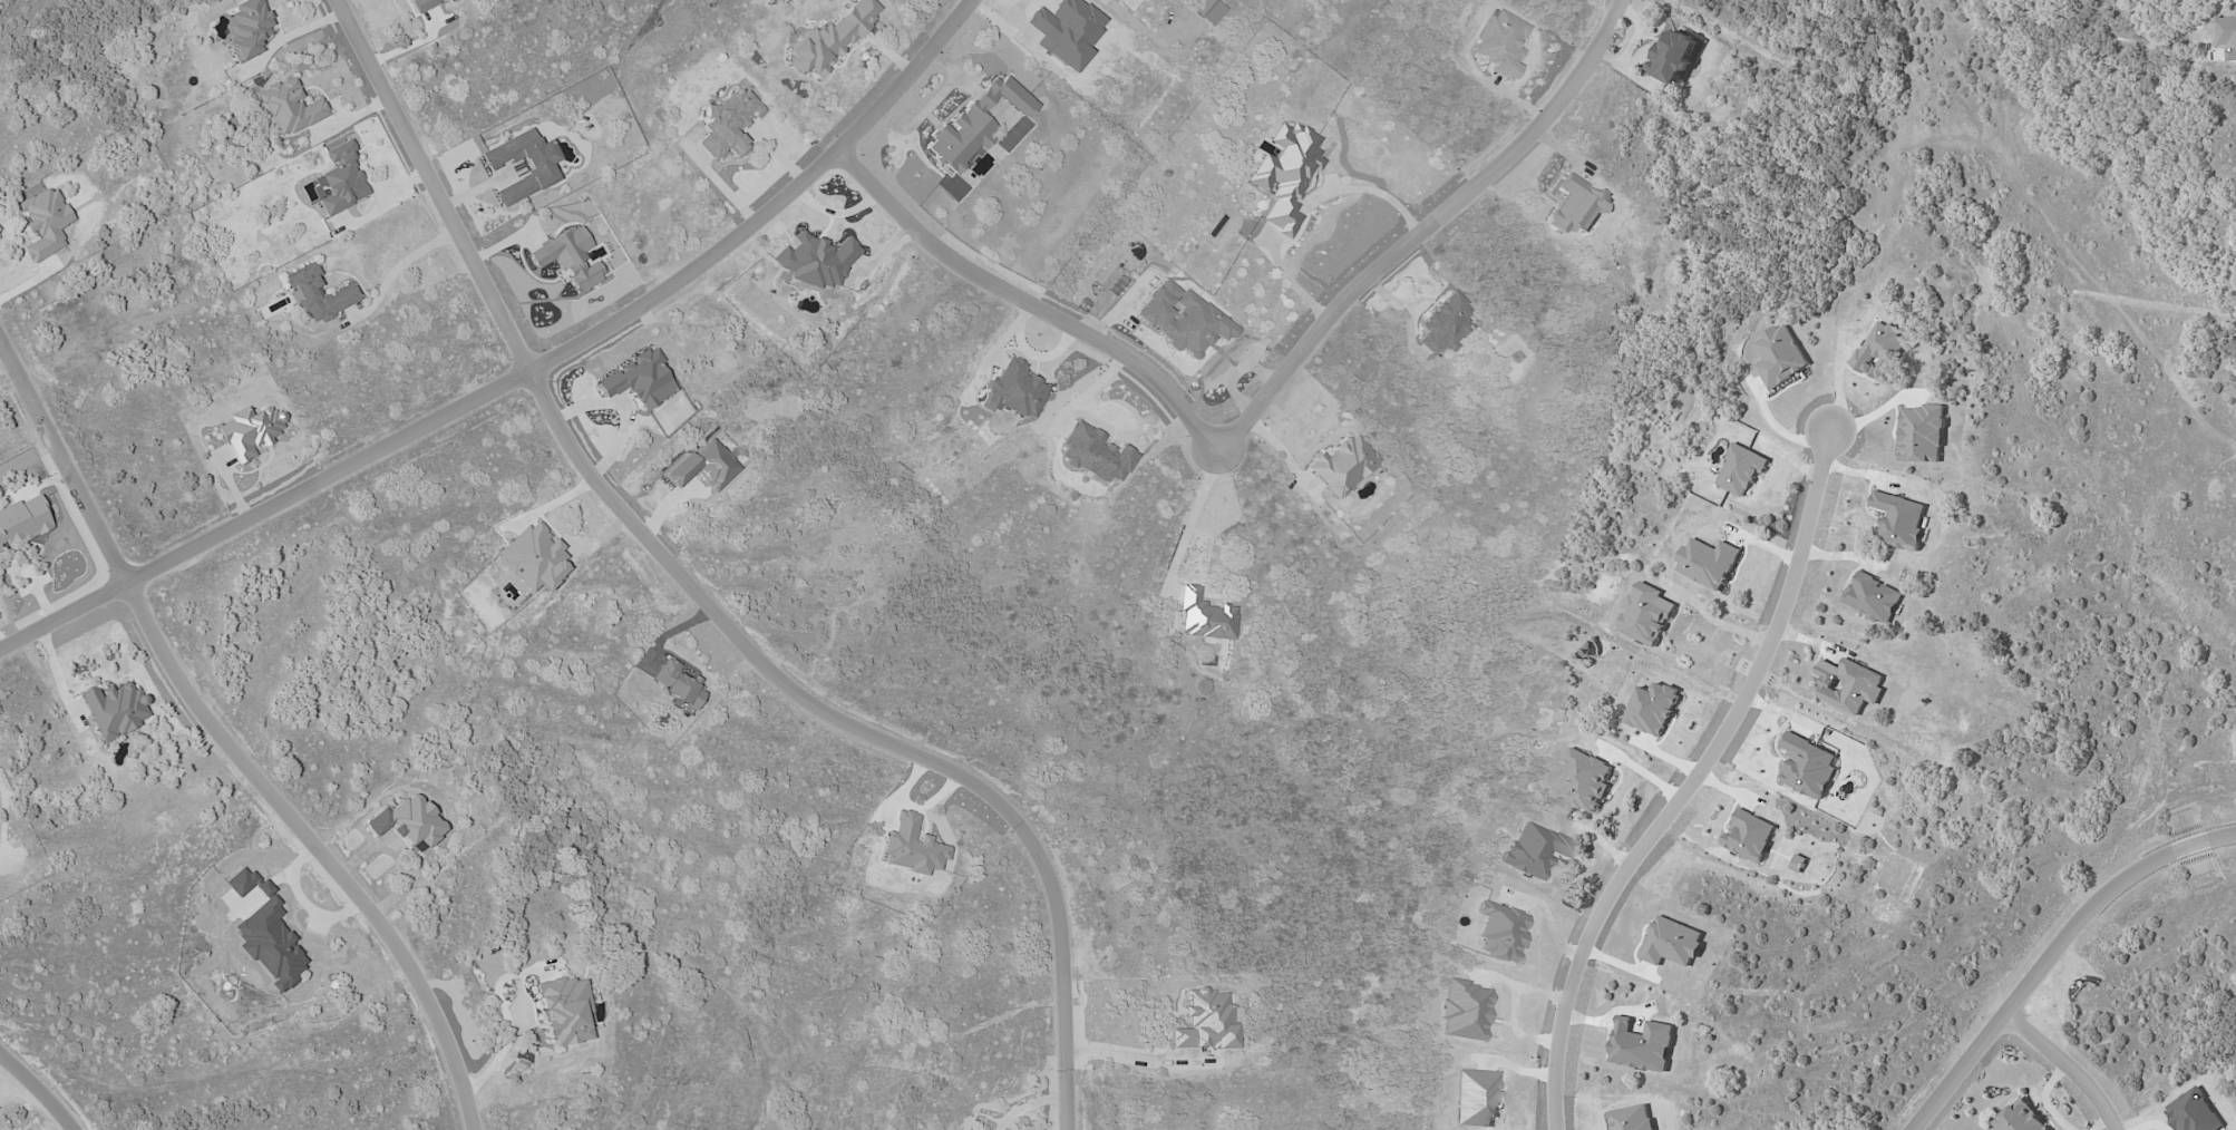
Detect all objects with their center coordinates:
building: (449, 0)
building: (422, 4)
building: (1207, 11)
building: (247, 28)
building: (830, 38)
building: (1499, 43)
building: (1675, 56)
road: (929, 106)
building: (289, 108)
building: (974, 124)
building: (727, 125)
building: (538, 167)
building: (1284, 175)
building: (340, 179)
building: (1575, 206)
road: (1306, 208)
building: (43, 223)
road: (1421, 231)
building: (567, 257)
road: (396, 266)
building: (317, 295)
road: (1027, 305)
building: (1180, 319)
building: (1443, 324)
building: (1879, 350)
building: (1779, 355)
road: (517, 368)
building: (639, 380)
building: (1014, 390)
building: (249, 431)
building: (1922, 434)
road: (1284, 452)
building: (1092, 455)
building: (703, 466)
building: (1341, 466)
building: (1741, 469)
building: (1899, 519)
building: (22, 522)
road: (1192, 524)
building: (532, 558)
building: (1873, 597)
road: (701, 602)
building: (1646, 614)
building: (1203, 617)
road: (1712, 621)
road: (1, 644)
road: (54, 676)
building: (674, 683)
building: (1849, 684)
building: (114, 710)
road: (230, 744)
building: (1808, 767)
building: (1586, 779)
road: (1689, 782)
building: (407, 822)
building: (1750, 836)
building: (910, 847)
building: (1535, 850)
building: (1672, 943)
road: (2050, 951)
building: (564, 1011)
building: (1462, 1012)
building: (1204, 1022)
road: (509, 1029)
building: (1643, 1045)
road: (1126, 1056)
road: (2067, 1064)
road: (36, 1093)
building: (1474, 1099)
road: (1027, 1102)
building: (2194, 1112)
building: (2019, 1118)

